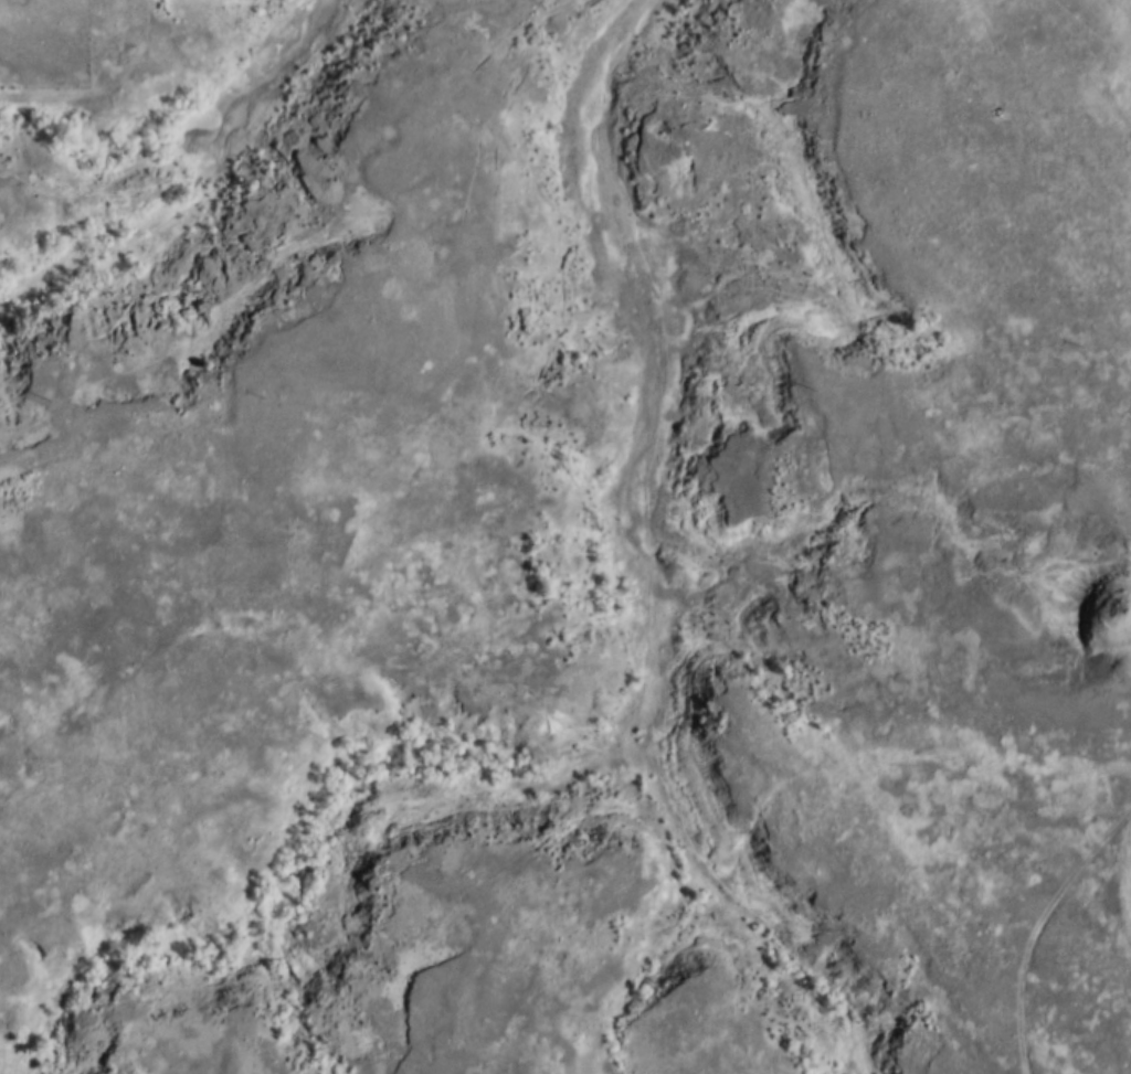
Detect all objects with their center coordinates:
road: (1033, 927)

